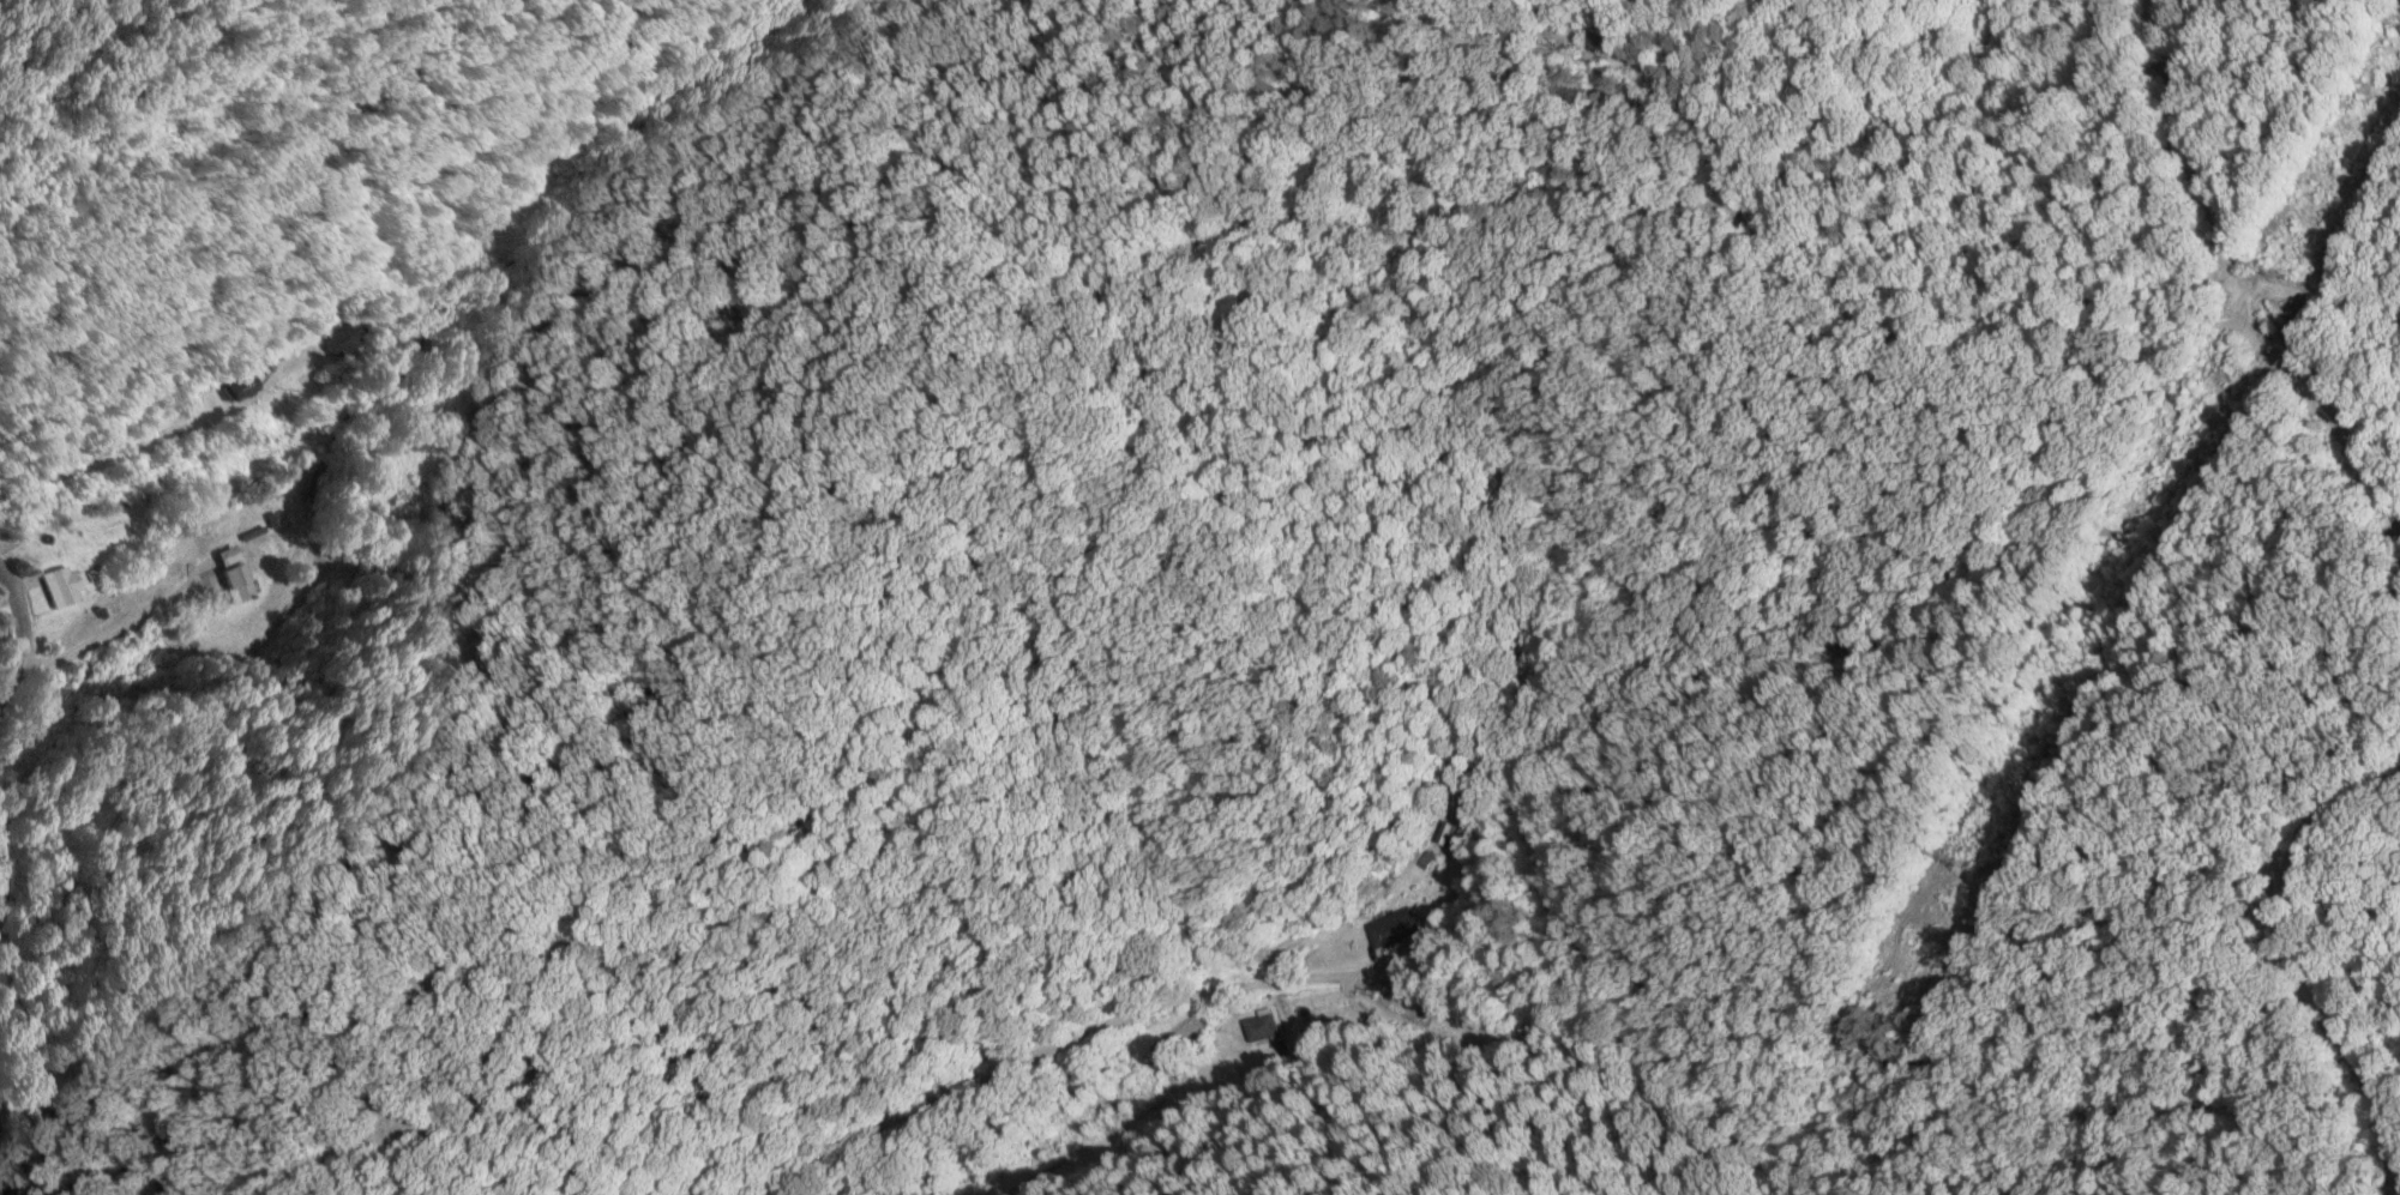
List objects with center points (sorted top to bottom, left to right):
building: (347, 332)
road: (102, 455)
building: (241, 581)
building: (61, 586)
road: (4, 600)
road: (13, 639)
road: (1536, 838)
building: (1399, 929)
road: (6, 1167)

